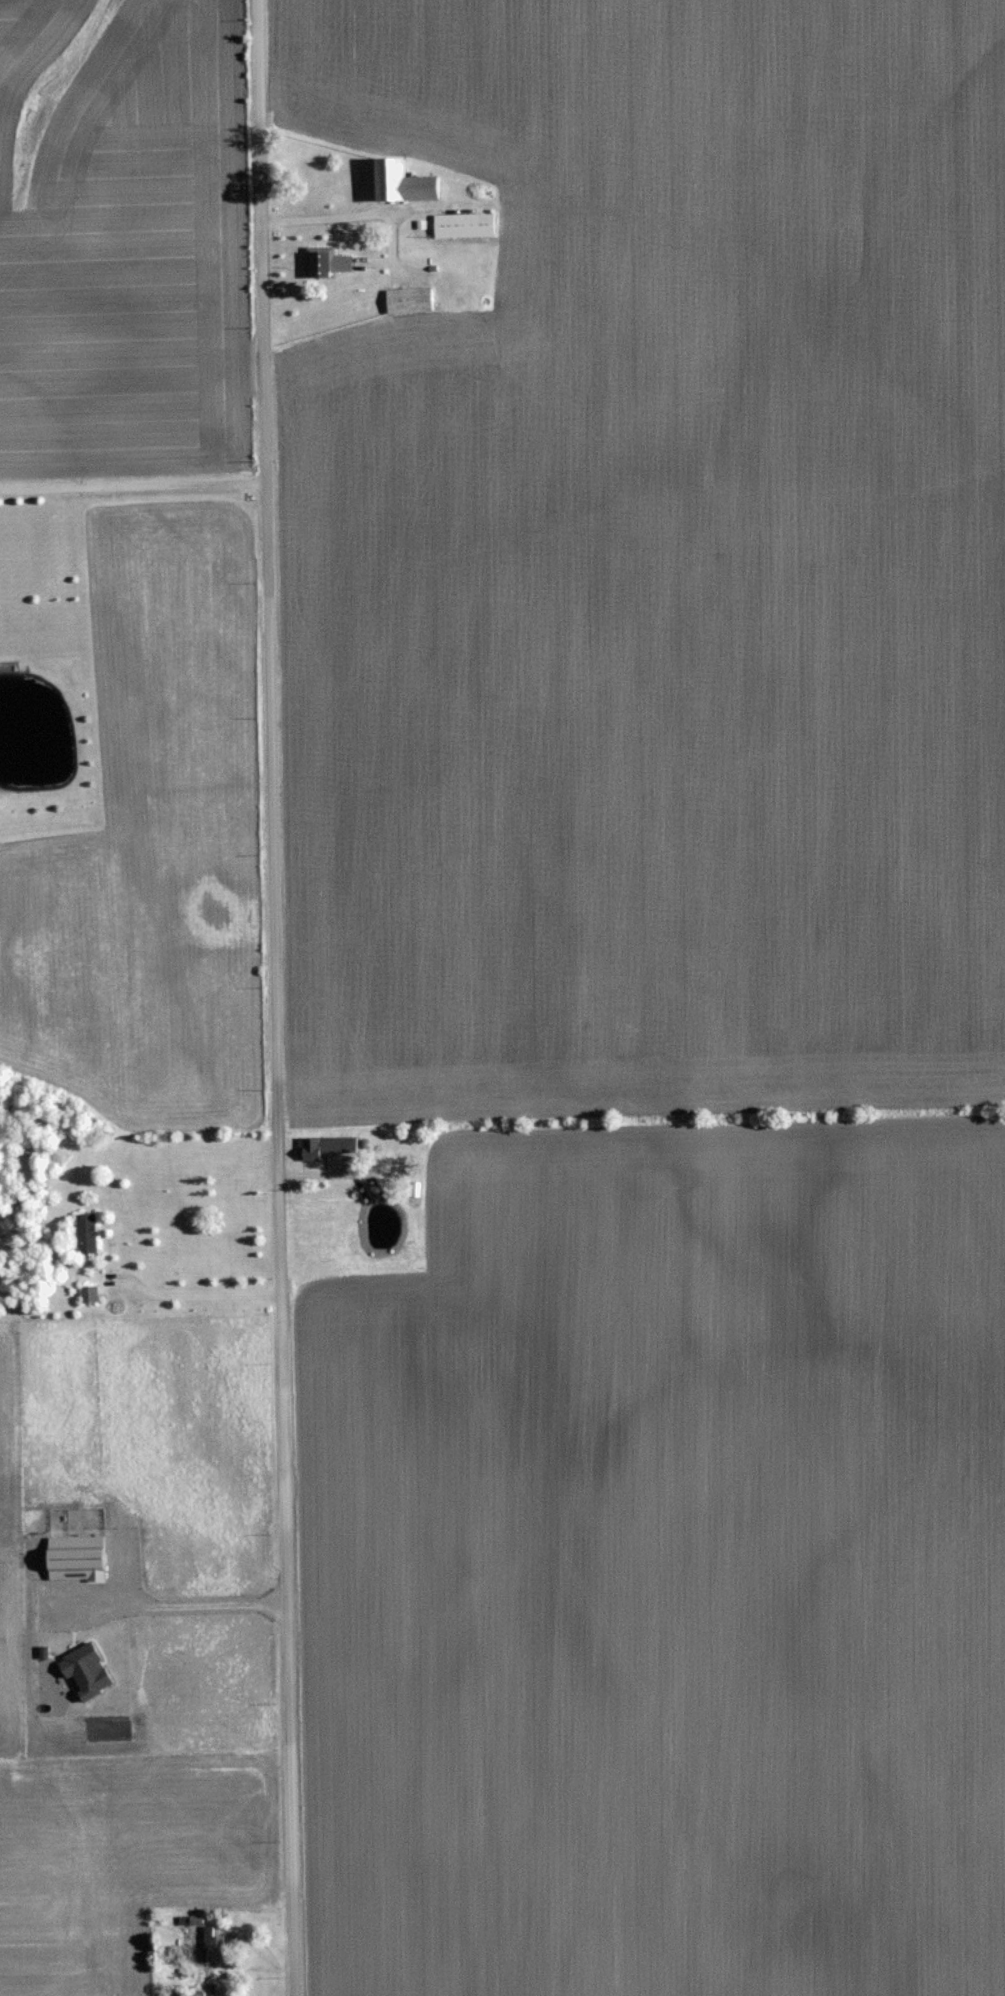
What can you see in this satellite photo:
building: (410, 183)
road: (330, 212)
building: (469, 226)
building: (334, 263)
building: (416, 300)
road: (134, 483)
road: (277, 998)
building: (331, 1146)
building: (90, 1233)
road: (203, 1288)
building: (92, 1293)
building: (220, 1946)

